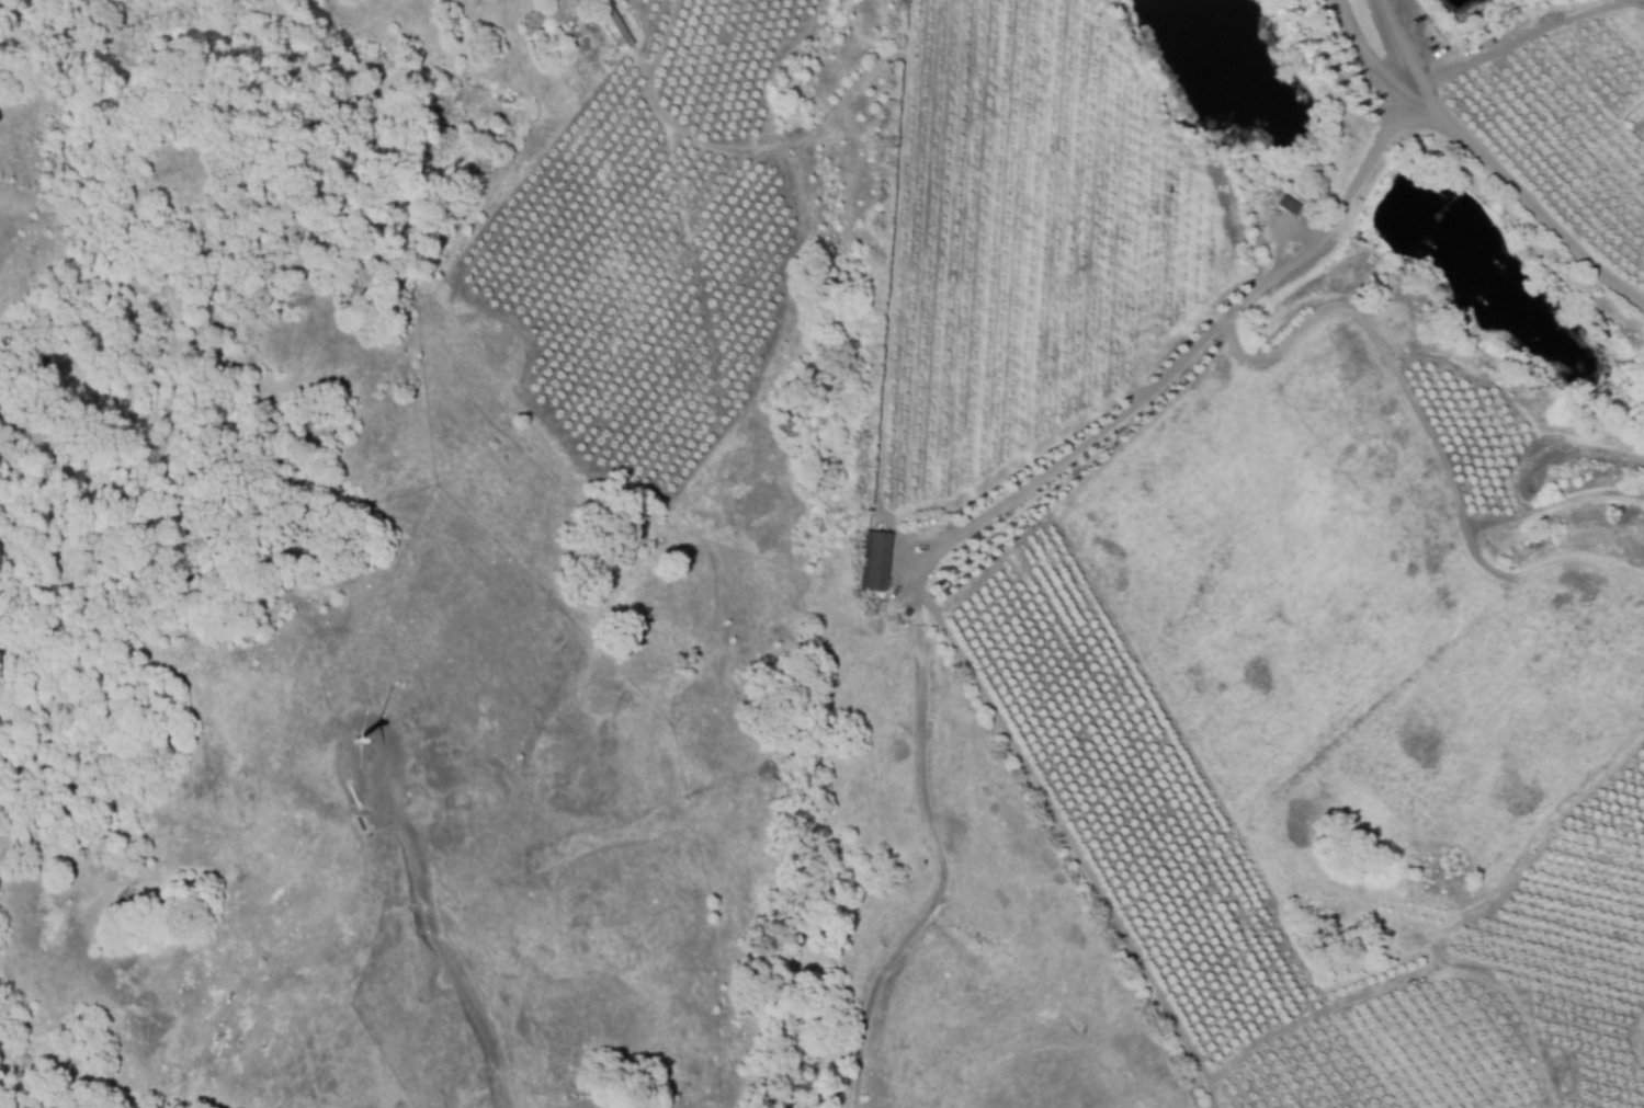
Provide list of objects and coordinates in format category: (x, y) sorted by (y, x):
road: (1522, 37)
road: (1357, 61)
road: (1488, 165)
building: (874, 561)
wind turbine: (354, 742)

